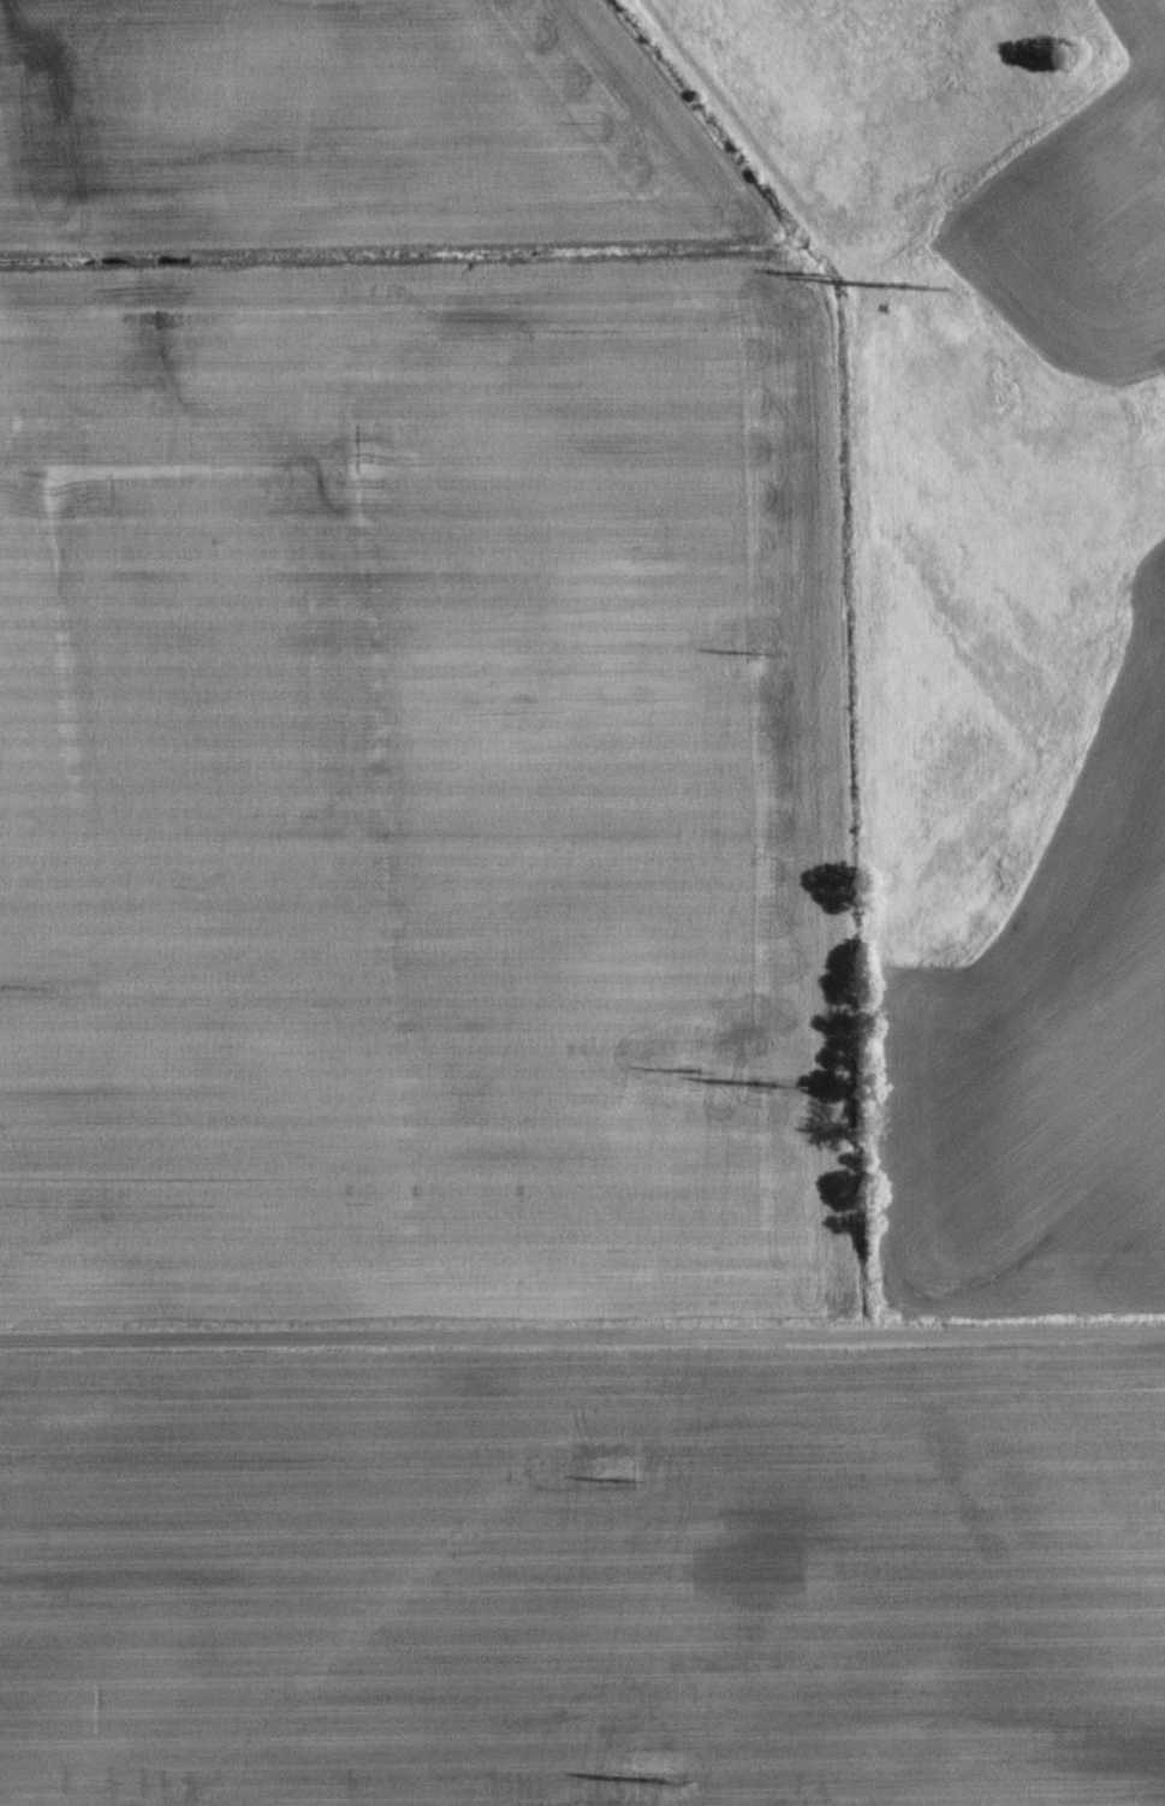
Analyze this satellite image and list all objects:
power tower: (887, 290)
power tower: (766, 1093)
road: (582, 1337)
power tower: (652, 1790)

